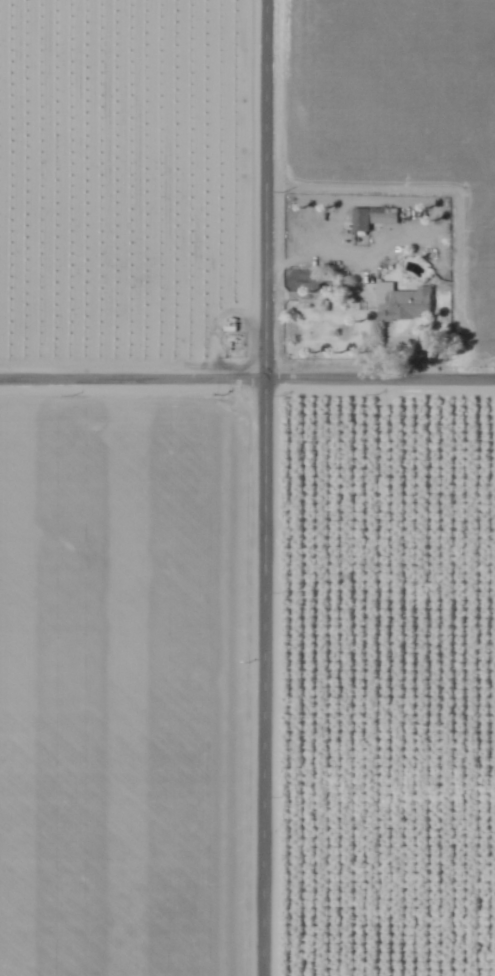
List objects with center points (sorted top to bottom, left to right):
building: (371, 217)
building: (402, 302)
road: (247, 378)
road: (265, 487)
crop: (123, 686)
crop: (389, 686)

